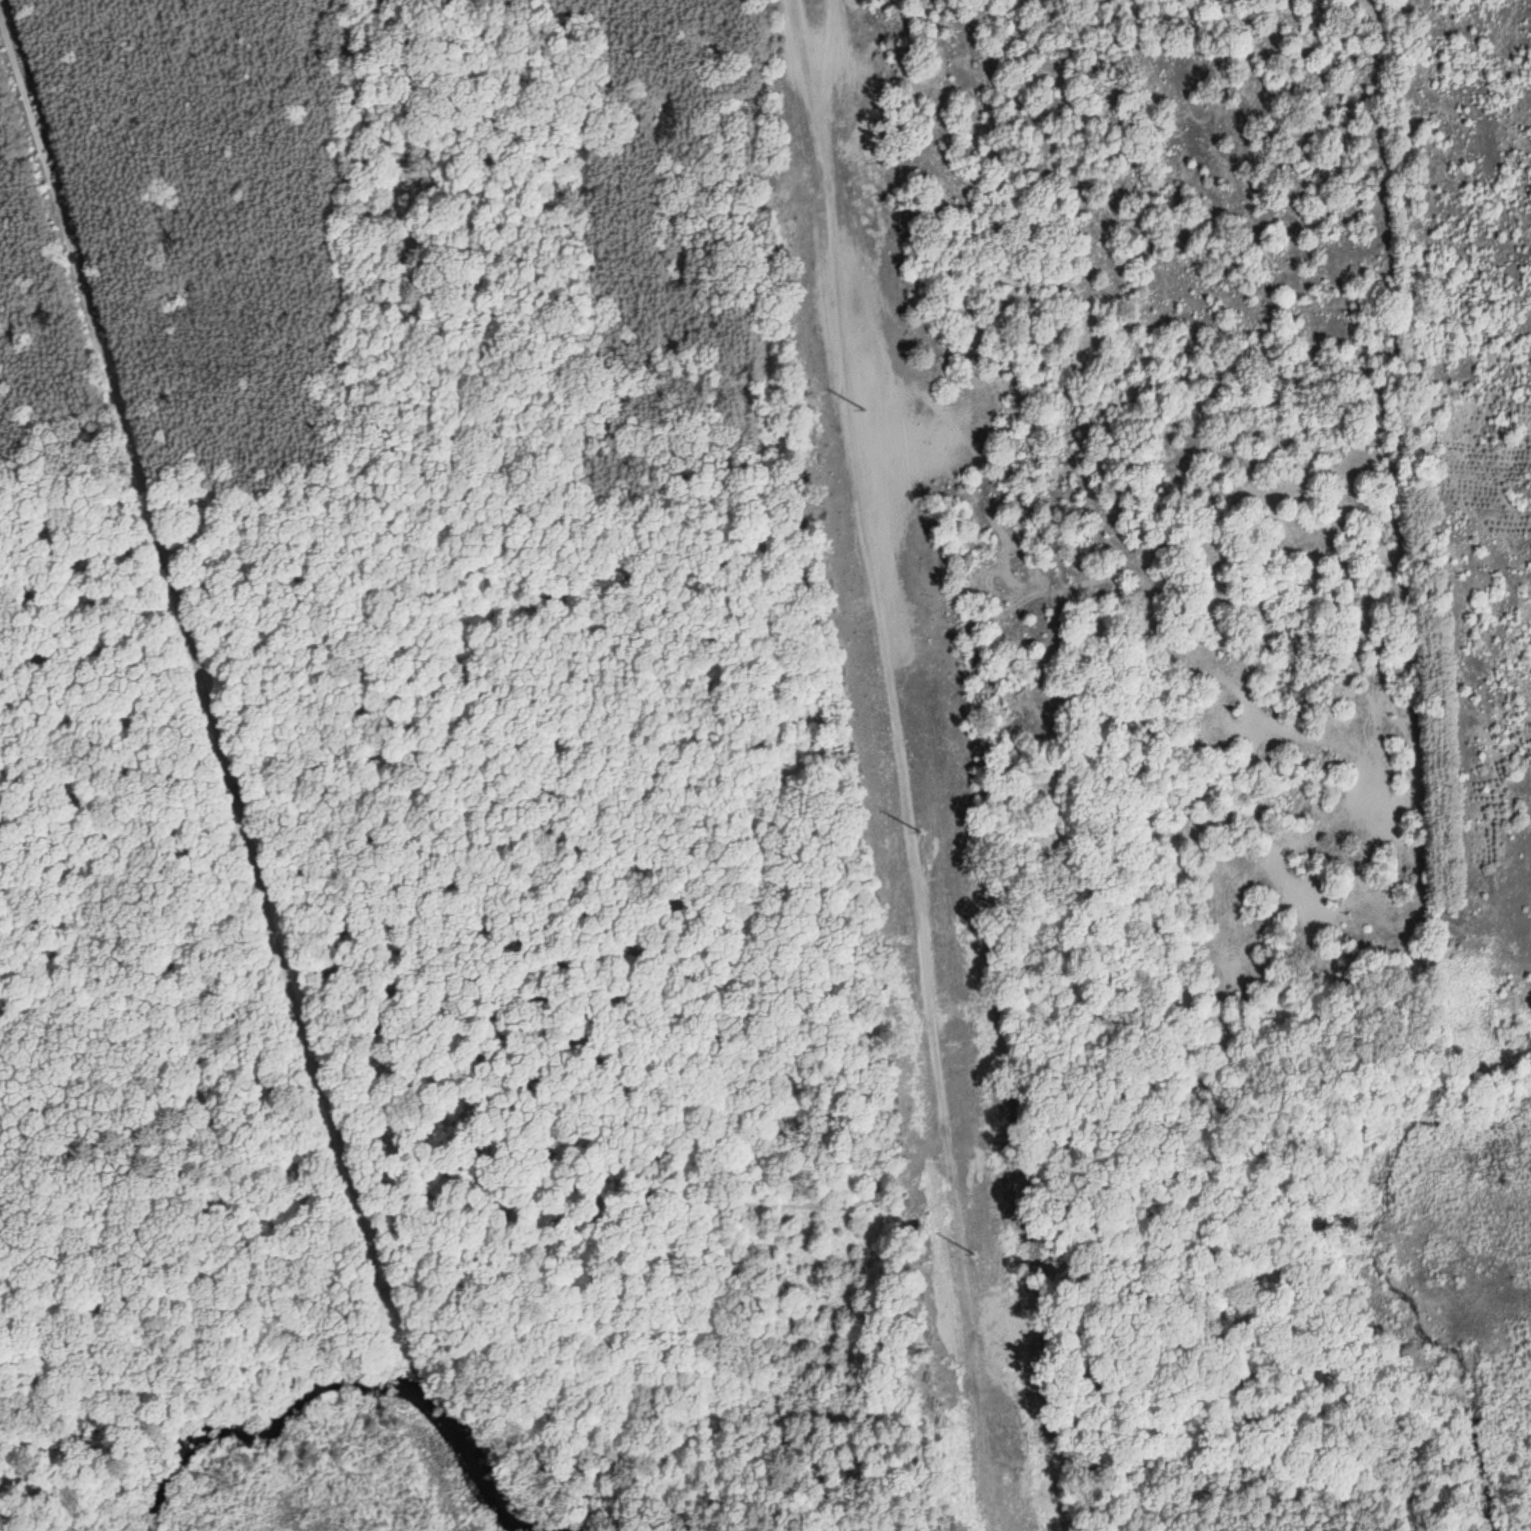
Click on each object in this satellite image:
road: (225, 1182)
river: (335, 1379)

